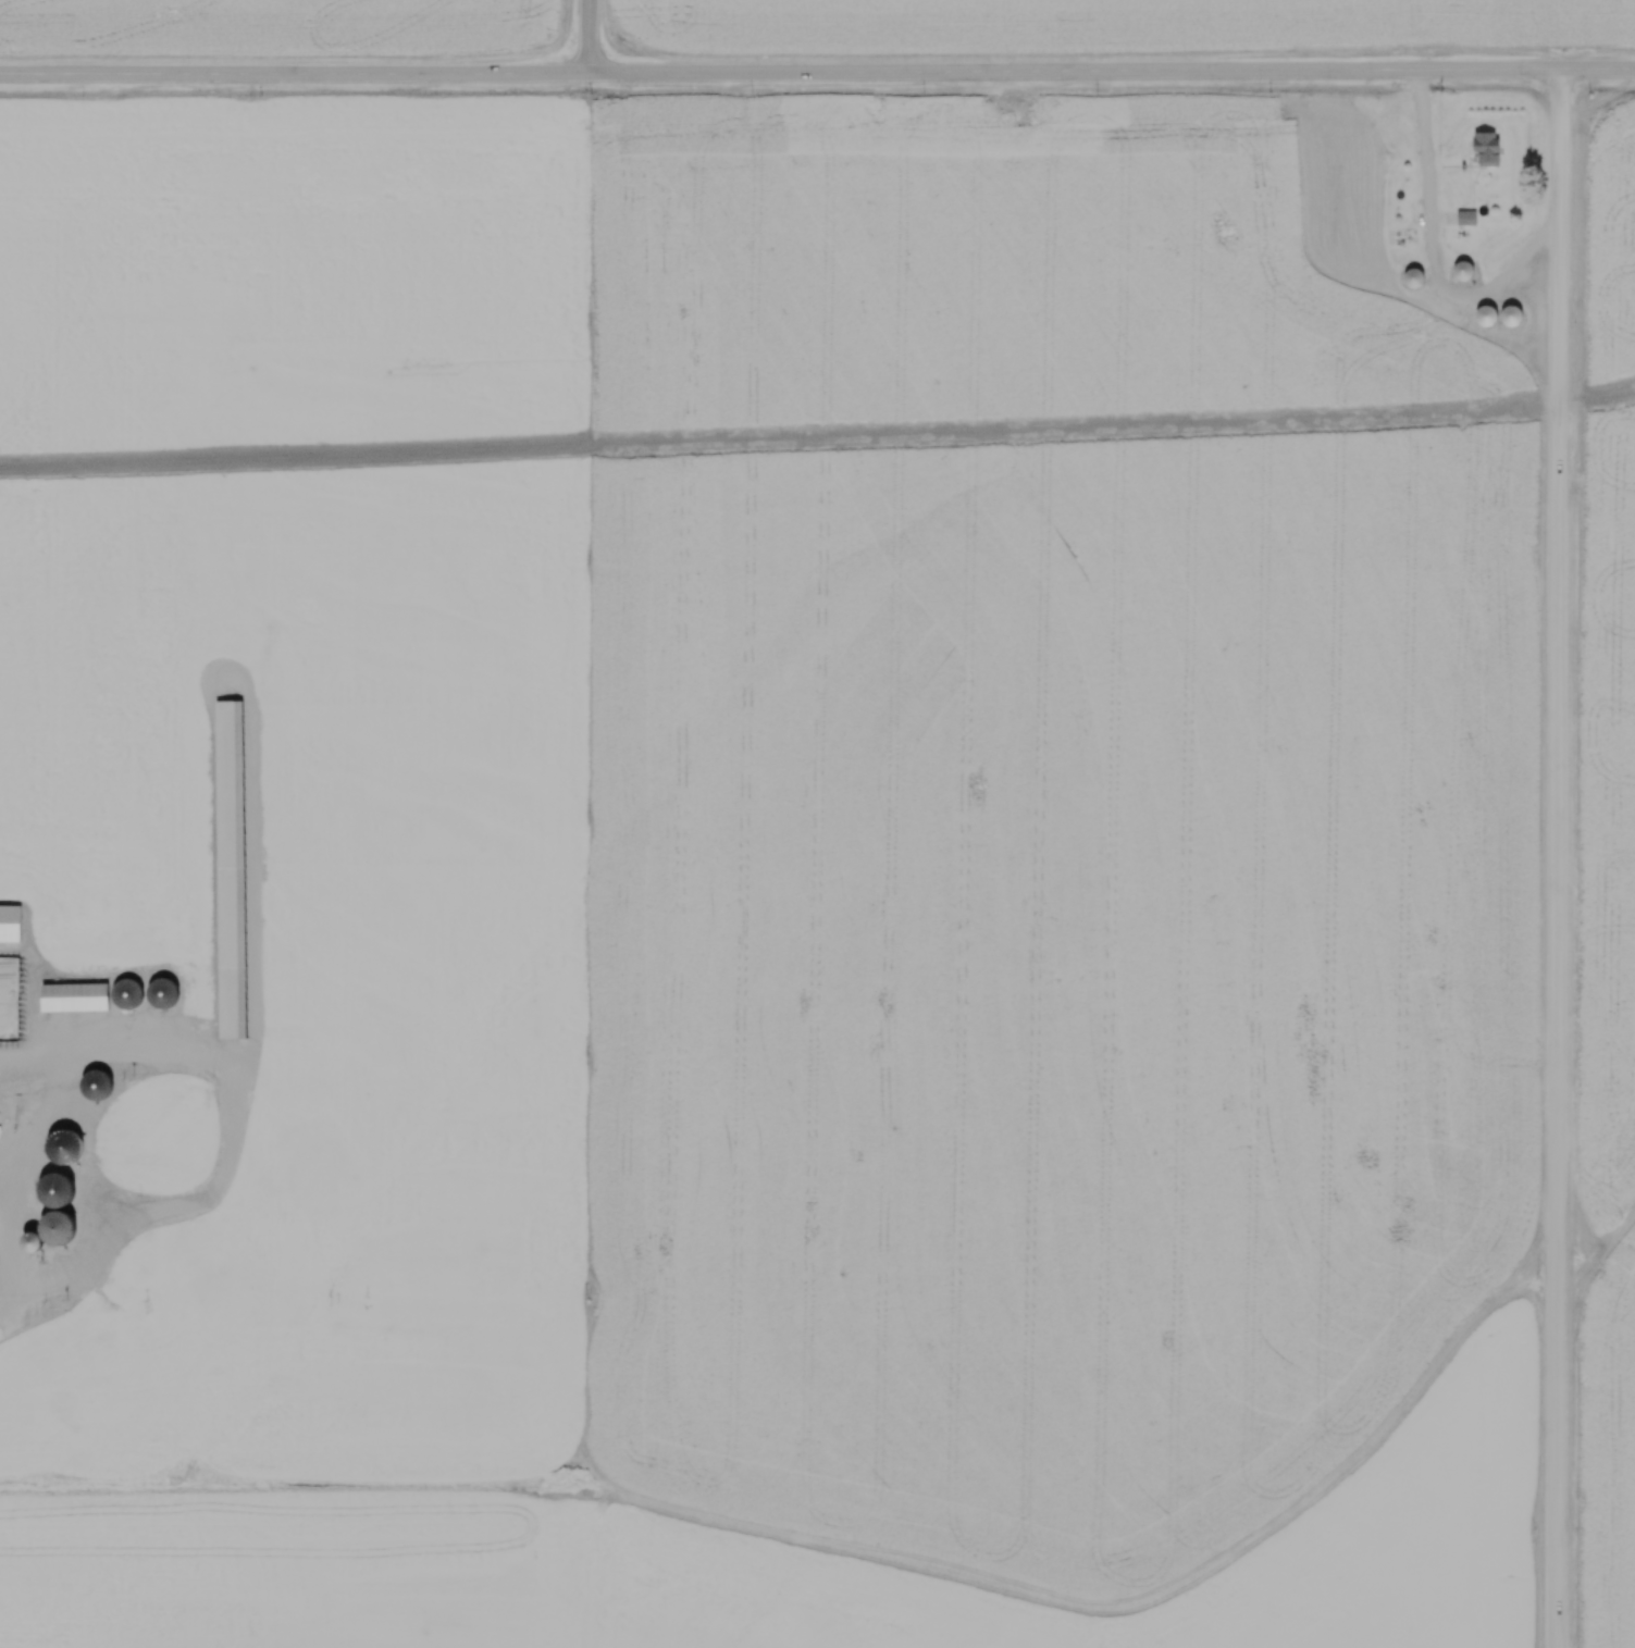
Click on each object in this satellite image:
road: (592, 38)
road: (1597, 72)
road: (1075, 74)
road: (295, 76)
building: (1482, 151)
building: (1463, 221)
road: (1436, 251)
building: (1454, 274)
building: (1407, 282)
building: (232, 716)
road: (1556, 859)
building: (13, 925)
building: (170, 994)
building: (133, 995)
building: (79, 999)
building: (238, 1027)
building: (102, 1087)
road: (227, 1152)
building: (149, 1244)

